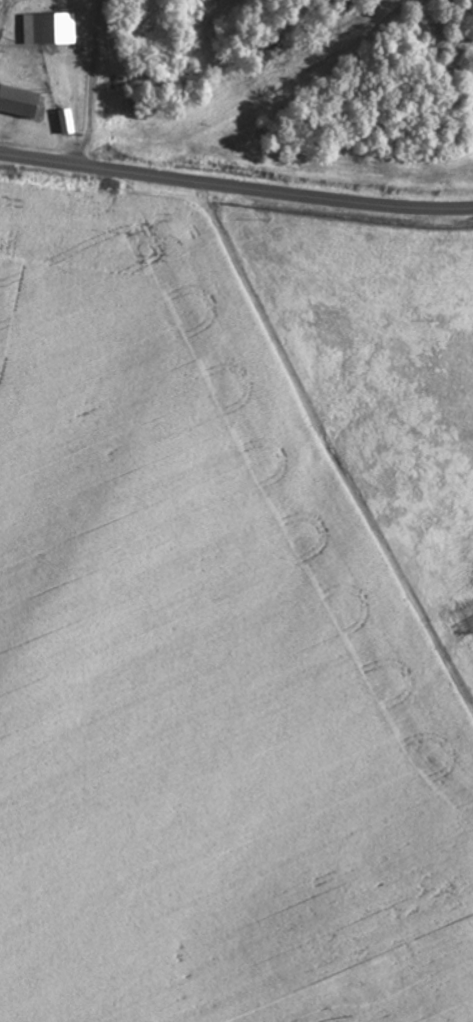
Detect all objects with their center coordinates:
building: (47, 30)
building: (21, 105)
building: (64, 123)
road: (235, 187)

